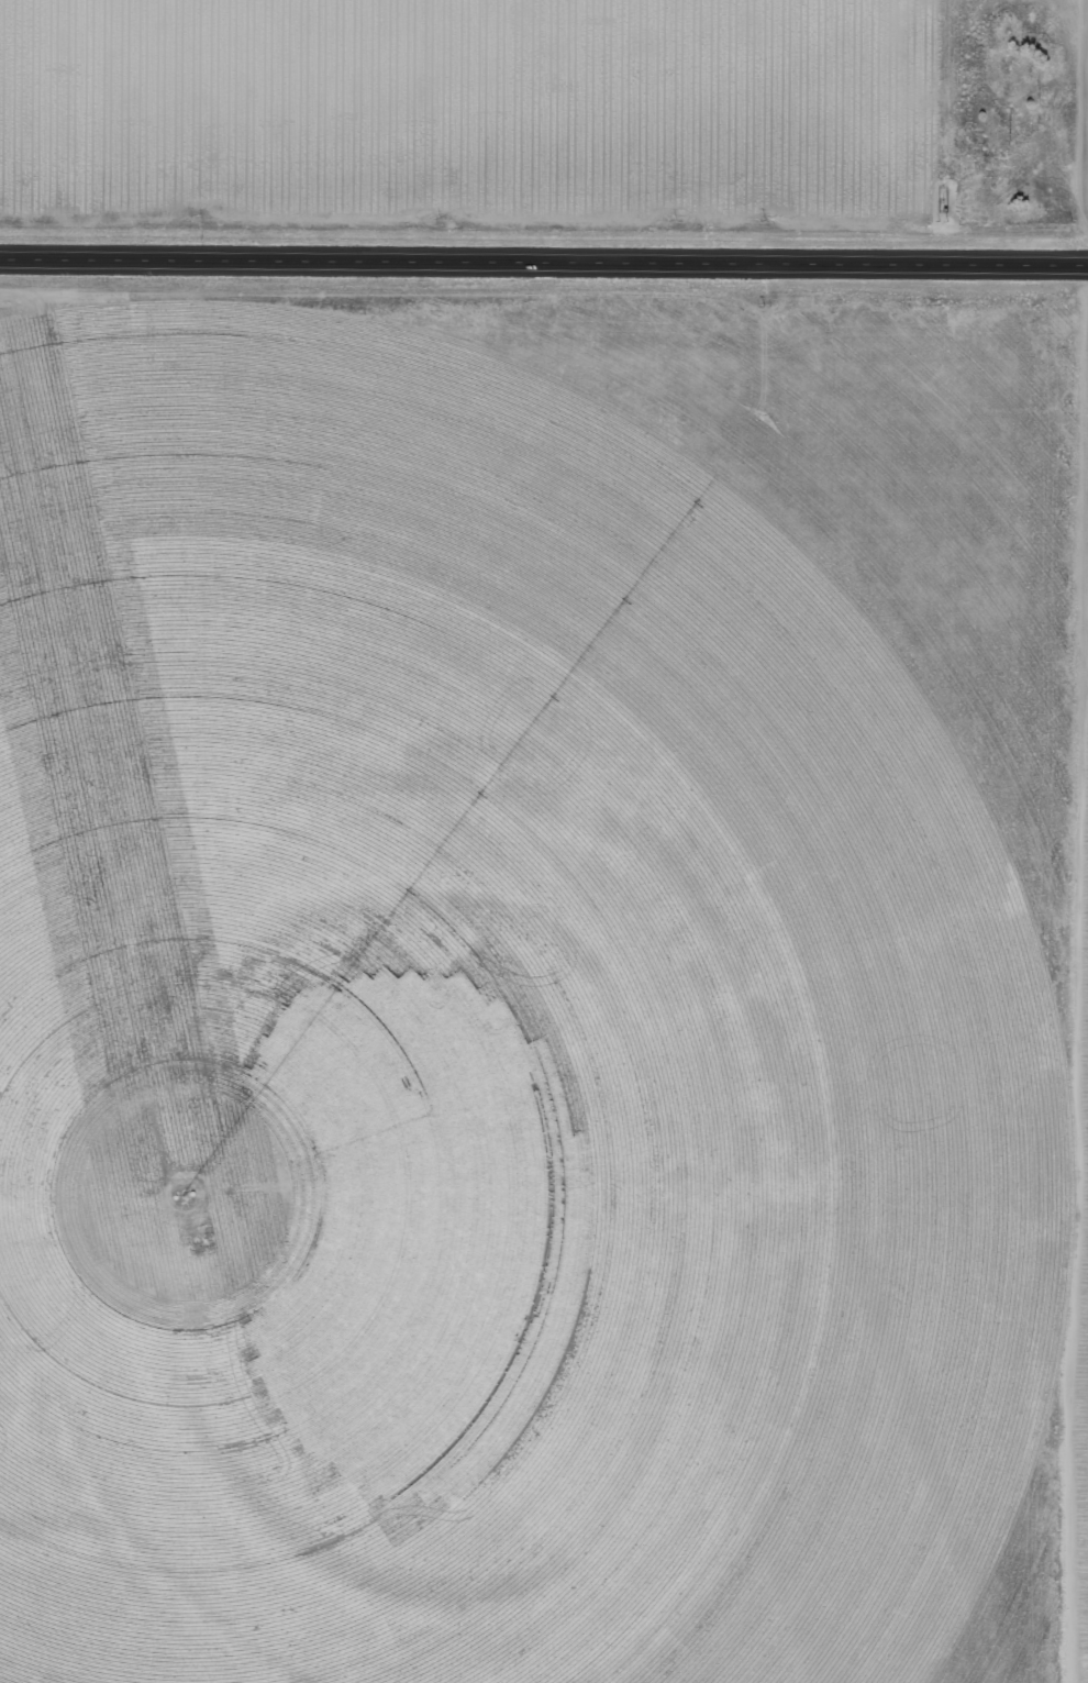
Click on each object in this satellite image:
road: (543, 280)
road: (1056, 841)

